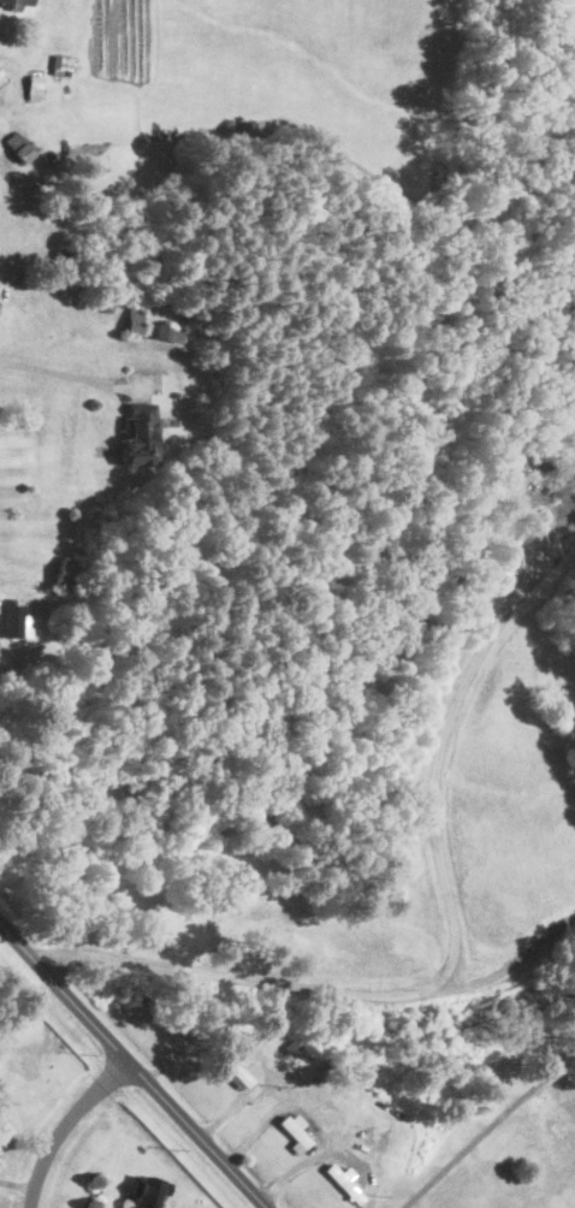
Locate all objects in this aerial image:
building: (17, 5)
building: (61, 65)
building: (4, 79)
building: (36, 85)
building: (20, 149)
building: (63, 256)
road: (2, 272)
building: (108, 304)
building: (135, 321)
building: (168, 334)
road: (57, 373)
building: (140, 437)
building: (65, 575)
building: (17, 622)
road: (446, 727)
road: (511, 965)
road: (253, 979)
building: (294, 1048)
road: (134, 1065)
building: (235, 1068)
road: (65, 1125)
road: (488, 1130)
building: (296, 1133)
building: (345, 1184)
building: (149, 1191)

